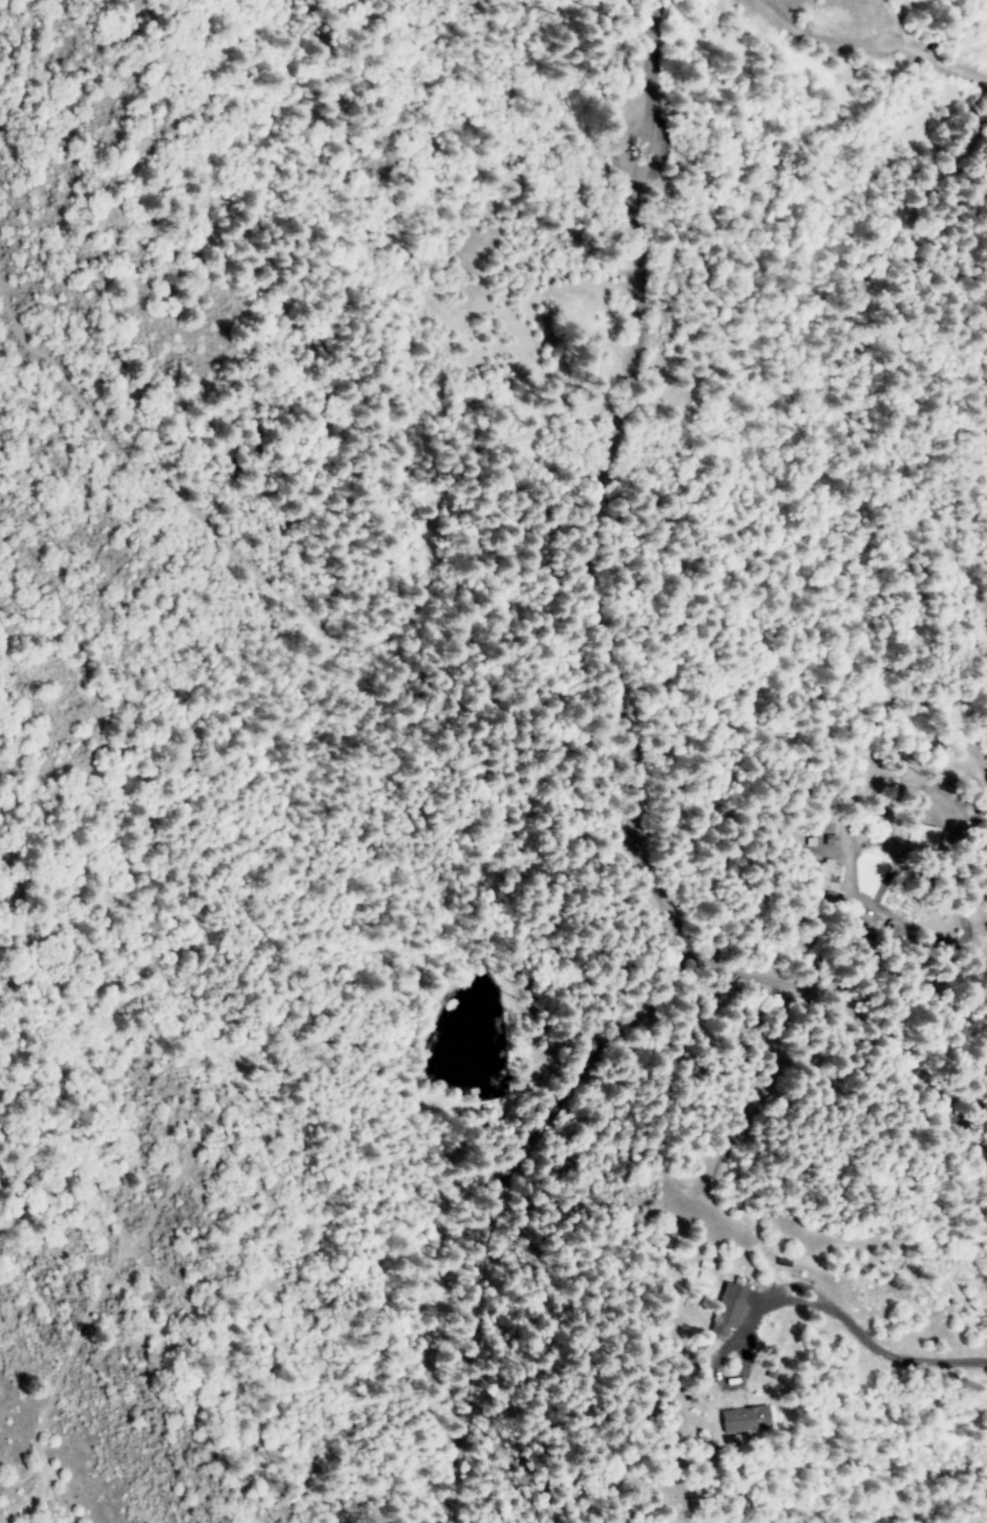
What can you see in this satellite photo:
road: (610, 557)
road: (912, 1072)
building: (724, 1308)
building: (742, 1417)

